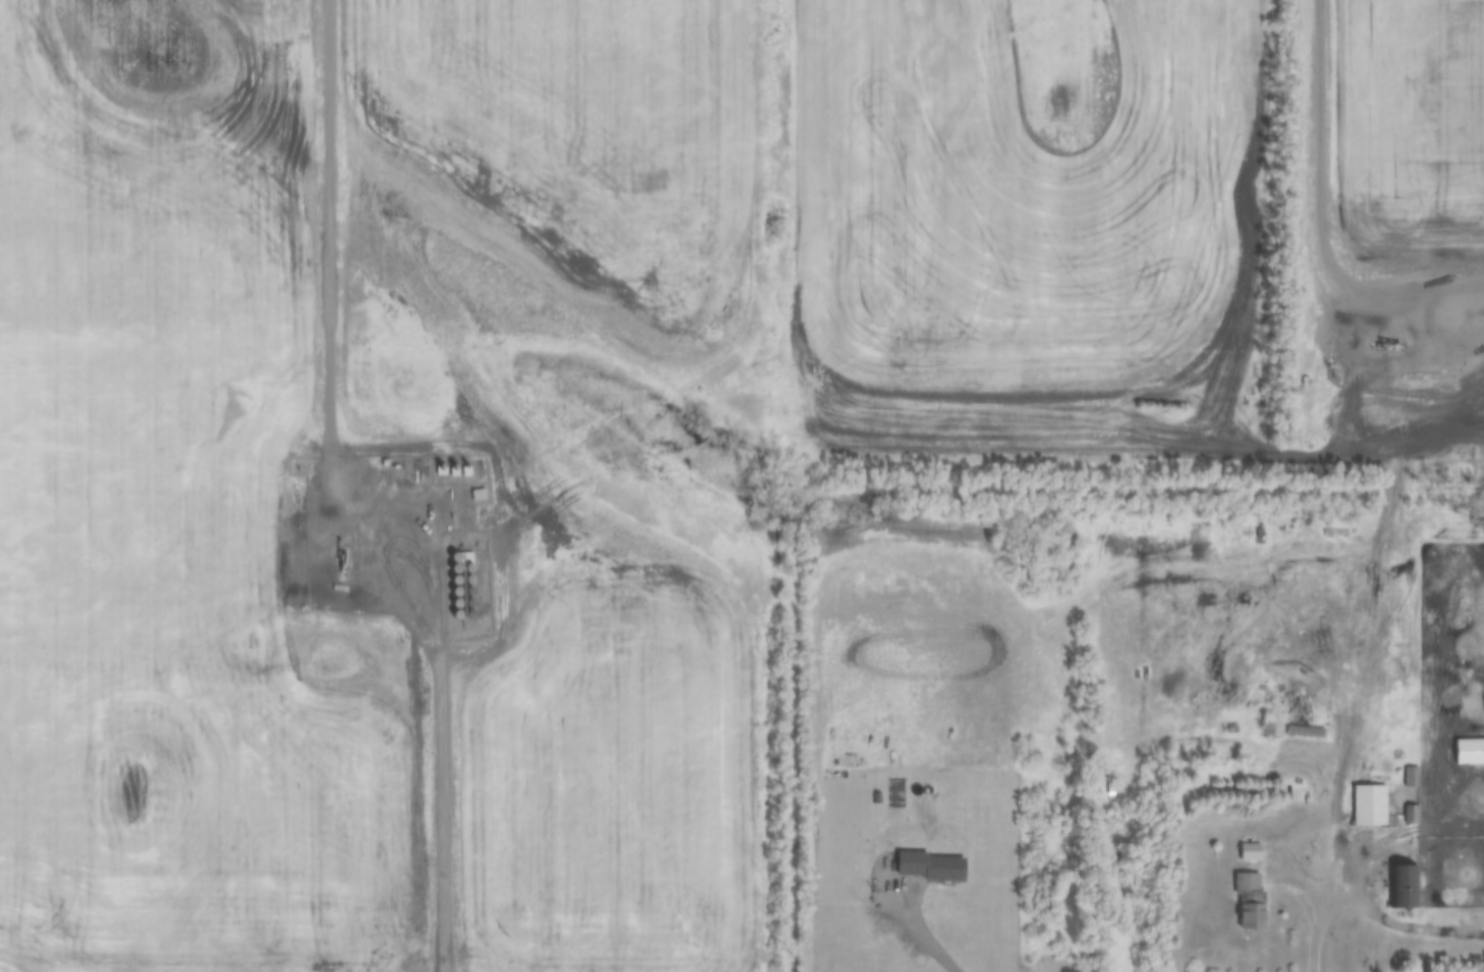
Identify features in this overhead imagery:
road: (1301, 305)
road: (1355, 665)
building: (1303, 732)
building: (1409, 777)
building: (1368, 805)
building: (1249, 851)
building: (943, 868)
building: (1401, 886)
building: (1249, 899)
road: (1401, 921)
road: (1316, 929)

